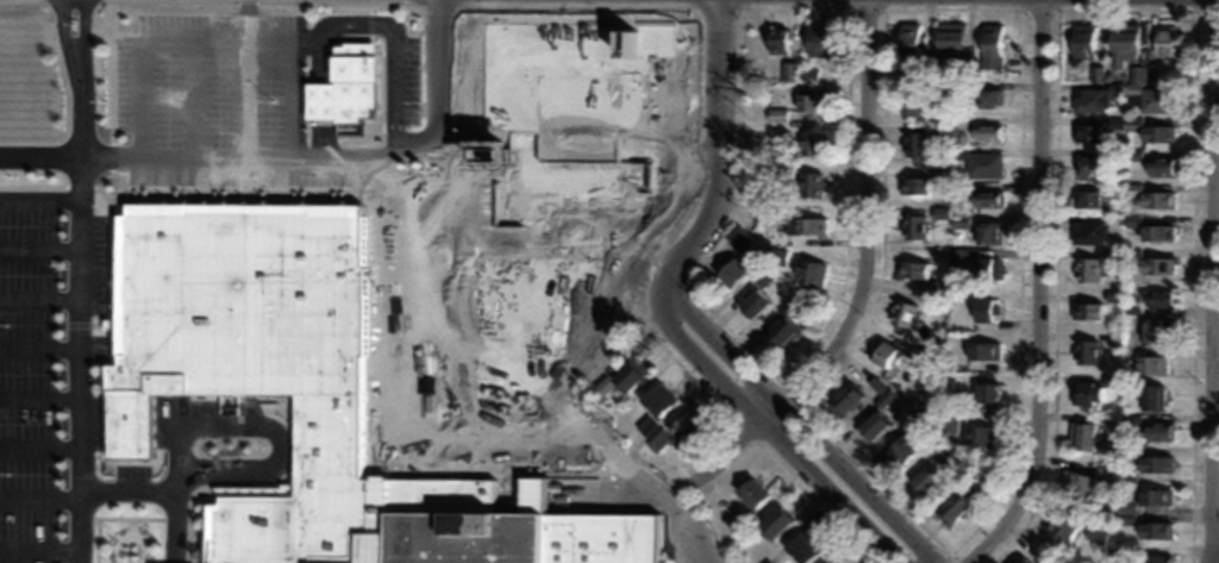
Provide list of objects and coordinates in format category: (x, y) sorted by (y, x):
road: (218, 29)
road: (305, 29)
building: (951, 33)
building: (819, 37)
building: (779, 38)
building: (911, 38)
building: (1084, 39)
building: (1165, 39)
building: (1124, 42)
building: (993, 44)
road: (393, 48)
road: (77, 50)
road: (65, 51)
building: (355, 64)
building: (799, 71)
building: (1138, 71)
building: (1099, 73)
road: (437, 77)
building: (321, 85)
road: (194, 92)
road: (243, 92)
road: (320, 92)
building: (989, 95)
building: (1092, 98)
building: (813, 99)
building: (1159, 99)
building: (915, 100)
building: (779, 114)
building: (961, 120)
road: (79, 129)
building: (988, 131)
building: (1089, 131)
building: (1158, 131)
building: (813, 143)
building: (915, 143)
road: (39, 155)
road: (258, 156)
road: (580, 157)
road: (719, 162)
building: (986, 164)
building: (1161, 165)
building: (1087, 167)
building: (783, 174)
building: (814, 183)
building: (914, 184)
road: (39, 189)
building: (1143, 194)
building: (987, 198)
building: (1087, 198)
building: (943, 212)
building: (962, 220)
building: (812, 225)
building: (917, 226)
building: (988, 230)
building: (1090, 231)
building: (1158, 232)
building: (742, 238)
road: (38, 239)
building: (1125, 255)
building: (782, 256)
building: (963, 256)
building: (1163, 264)
building: (987, 268)
building: (914, 269)
building: (1087, 270)
building: (811, 271)
building: (731, 273)
road: (864, 275)
building: (767, 277)
road: (1214, 281)
road: (38, 290)
road: (1037, 293)
building: (1158, 298)
building: (754, 302)
building: (984, 308)
building: (1088, 311)
building: (905, 313)
building: (1150, 330)
building: (783, 331)
road: (38, 338)
building: (984, 350)
building: (886, 351)
building: (1087, 351)
road: (76, 359)
building: (1151, 363)
building: (258, 364)
building: (629, 376)
building: (945, 384)
road: (38, 389)
building: (988, 390)
building: (1089, 392)
building: (1151, 395)
building: (888, 396)
building: (845, 398)
building: (656, 411)
building: (951, 419)
building: (687, 423)
building: (875, 425)
building: (1156, 428)
road: (809, 432)
building: (982, 434)
road: (38, 436)
building: (1084, 436)
road: (781, 442)
building: (902, 448)
building: (1155, 462)
building: (938, 469)
building: (1080, 483)
building: (749, 487)
road: (38, 490)
road: (173, 492)
building: (1155, 495)
building: (954, 506)
building: (775, 523)
building: (1061, 526)
building: (1154, 528)
building: (464, 530)
building: (1099, 530)
building: (596, 537)
road: (37, 542)
building: (802, 545)
building: (1156, 557)
building: (1020, 559)

